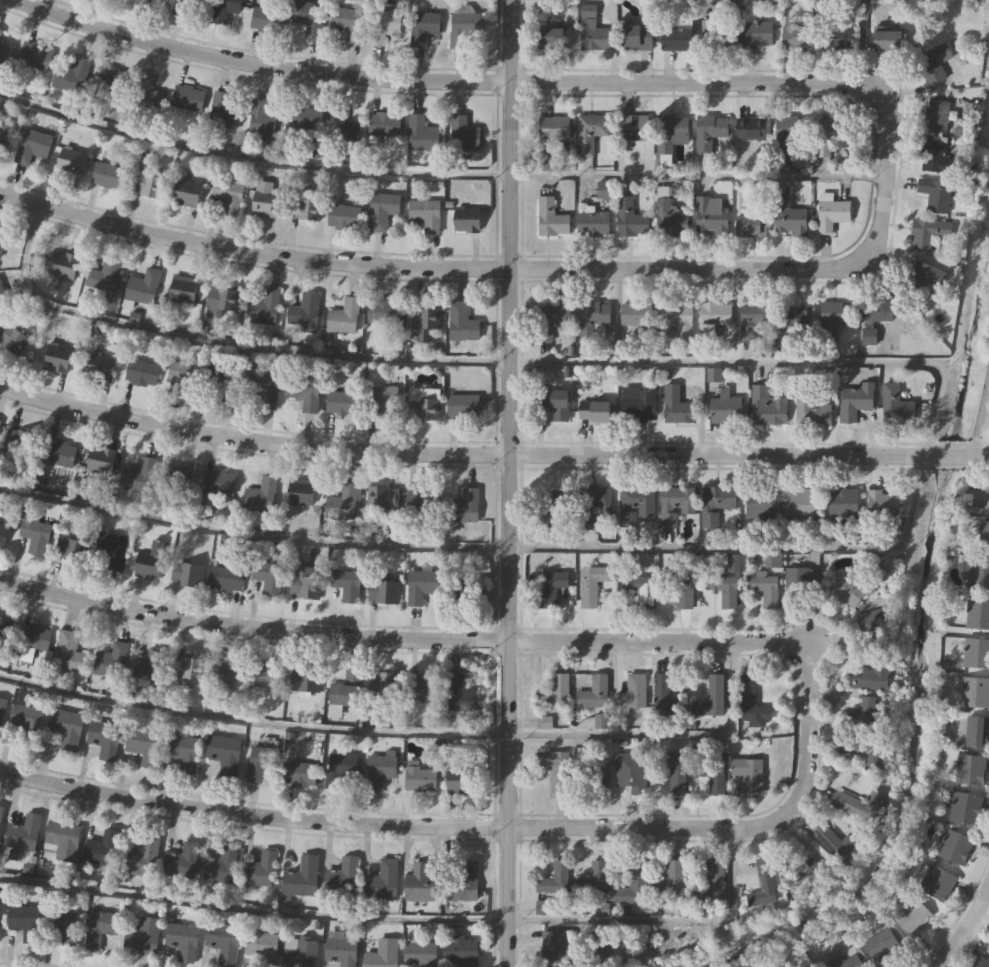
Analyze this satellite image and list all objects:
building: (151, 3)
building: (185, 7)
building: (224, 10)
building: (309, 16)
building: (267, 17)
building: (348, 21)
building: (383, 23)
building: (463, 25)
building: (423, 26)
building: (835, 30)
building: (0, 32)
building: (717, 32)
building: (757, 32)
building: (637, 36)
building: (554, 37)
building: (796, 37)
building: (596, 38)
building: (676, 38)
building: (890, 39)
road: (862, 42)
building: (4, 48)
building: (34, 54)
building: (933, 63)
building: (72, 74)
building: (112, 80)
road: (485, 81)
building: (147, 92)
building: (188, 96)
building: (225, 109)
building: (936, 115)
building: (261, 119)
building: (311, 122)
building: (384, 123)
building: (960, 125)
building: (632, 127)
building: (553, 128)
building: (751, 129)
building: (790, 129)
building: (589, 131)
building: (709, 131)
building: (421, 132)
building: (464, 133)
building: (669, 133)
building: (348, 135)
building: (829, 135)
building: (3, 139)
building: (32, 144)
building: (935, 158)
building: (71, 162)
building: (107, 174)
road: (437, 175)
building: (147, 183)
building: (187, 192)
building: (228, 193)
building: (934, 194)
building: (265, 198)
building: (306, 207)
building: (381, 208)
building: (425, 213)
building: (832, 214)
building: (344, 216)
building: (710, 216)
building: (669, 217)
building: (467, 218)
building: (551, 218)
building: (789, 218)
building: (629, 219)
building: (592, 223)
building: (750, 225)
building: (927, 232)
building: (2, 235)
building: (61, 263)
road: (471, 269)
building: (103, 276)
building: (919, 276)
building: (142, 286)
building: (183, 288)
building: (3, 296)
building: (222, 300)
building: (263, 306)
building: (304, 309)
building: (381, 309)
building: (594, 312)
building: (636, 313)
building: (836, 313)
building: (343, 315)
building: (423, 316)
building: (557, 316)
building: (712, 318)
building: (753, 318)
building: (795, 318)
building: (873, 318)
building: (677, 319)
building: (461, 320)
building: (12, 337)
building: (57, 357)
building: (101, 365)
building: (141, 371)
building: (184, 377)
building: (222, 380)
building: (260, 386)
building: (304, 392)
building: (384, 400)
building: (342, 401)
building: (853, 401)
building: (422, 402)
building: (555, 402)
building: (463, 404)
building: (676, 405)
building: (895, 405)
building: (638, 406)
building: (766, 406)
building: (725, 408)
building: (812, 409)
road: (933, 409)
building: (594, 411)
building: (988, 411)
road: (979, 417)
building: (0, 423)
building: (18, 446)
building: (58, 452)
road: (490, 455)
building: (101, 459)
building: (140, 474)
building: (217, 481)
road: (507, 483)
building: (301, 491)
building: (260, 494)
building: (383, 496)
building: (978, 497)
building: (423, 499)
building: (341, 502)
building: (760, 503)
building: (842, 503)
building: (593, 504)
building: (675, 504)
building: (715, 504)
building: (802, 504)
building: (881, 504)
building: (634, 505)
building: (463, 506)
building: (553, 508)
building: (3, 532)
building: (35, 533)
building: (983, 536)
building: (93, 549)
building: (149, 559)
building: (732, 562)
building: (186, 573)
building: (979, 574)
building: (268, 576)
building: (225, 578)
building: (305, 581)
building: (591, 583)
building: (797, 583)
building: (346, 584)
building: (421, 584)
building: (679, 584)
building: (548, 587)
building: (763, 587)
building: (639, 588)
building: (722, 588)
building: (851, 589)
building: (384, 590)
building: (469, 591)
building: (977, 614)
building: (871, 621)
building: (4, 629)
building: (35, 636)
road: (399, 639)
building: (68, 652)
building: (976, 653)
building: (111, 659)
building: (151, 665)
building: (188, 669)
building: (226, 672)
building: (269, 674)
building: (872, 675)
building: (304, 679)
building: (383, 682)
building: (420, 686)
building: (345, 688)
building: (975, 691)
building: (554, 693)
building: (592, 693)
building: (631, 693)
building: (459, 694)
building: (664, 697)
building: (710, 698)
building: (749, 699)
building: (2, 707)
building: (860, 712)
building: (25, 721)
building: (66, 727)
building: (976, 731)
road: (410, 732)
building: (104, 736)
building: (144, 743)
building: (862, 748)
building: (184, 750)
building: (225, 755)
building: (261, 761)
building: (339, 768)
building: (378, 768)
building: (969, 769)
building: (556, 770)
building: (670, 771)
building: (629, 772)
building: (300, 773)
building: (711, 774)
building: (747, 774)
building: (459, 777)
building: (593, 777)
building: (420, 778)
building: (856, 804)
building: (965, 808)
building: (1, 810)
road: (484, 825)
building: (23, 832)
building: (63, 838)
building: (833, 842)
building: (102, 847)
building: (954, 847)
building: (141, 856)
building: (183, 859)
building: (220, 865)
building: (794, 866)
building: (260, 869)
building: (342, 875)
building: (301, 876)
building: (553, 878)
building: (592, 879)
building: (671, 879)
building: (380, 880)
building: (462, 880)
building: (714, 881)
building: (420, 882)
building: (937, 882)
building: (761, 884)
building: (632, 885)
building: (540, 907)
building: (913, 918)
road: (982, 918)
road: (407, 920)
building: (25, 921)
building: (0, 923)
building: (64, 924)
building: (99, 927)
road: (964, 929)
building: (146, 935)
building: (182, 939)
building: (223, 941)
building: (260, 944)
building: (553, 945)
building: (881, 945)
building: (340, 949)
building: (460, 950)
building: (303, 952)
building: (380, 952)
building: (420, 953)
building: (847, 962)

